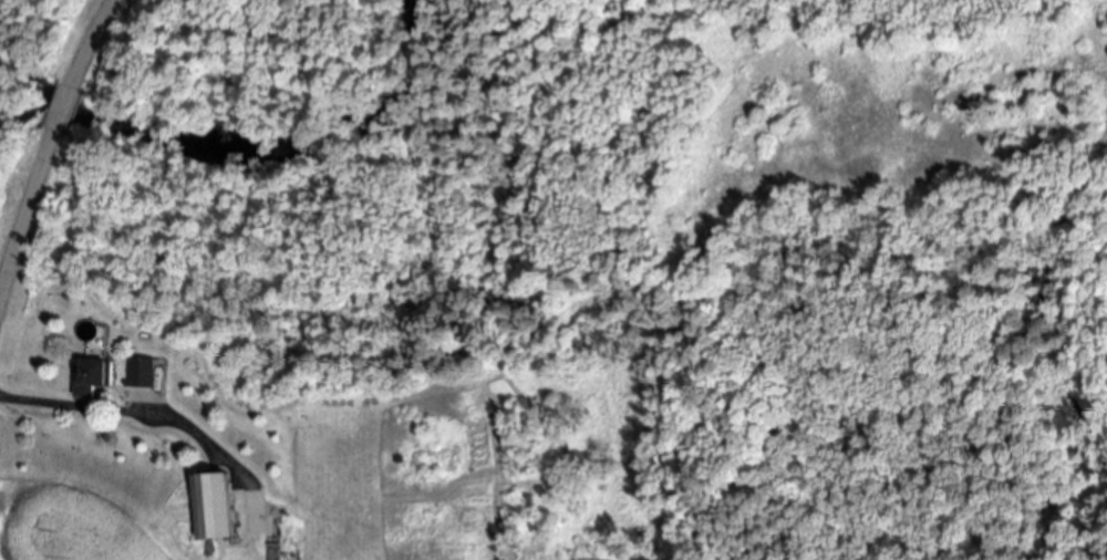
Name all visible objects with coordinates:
road: (96, 27)
road: (55, 134)
river: (250, 154)
road: (12, 255)
building: (146, 373)
building: (91, 376)
road: (126, 412)
building: (215, 507)

